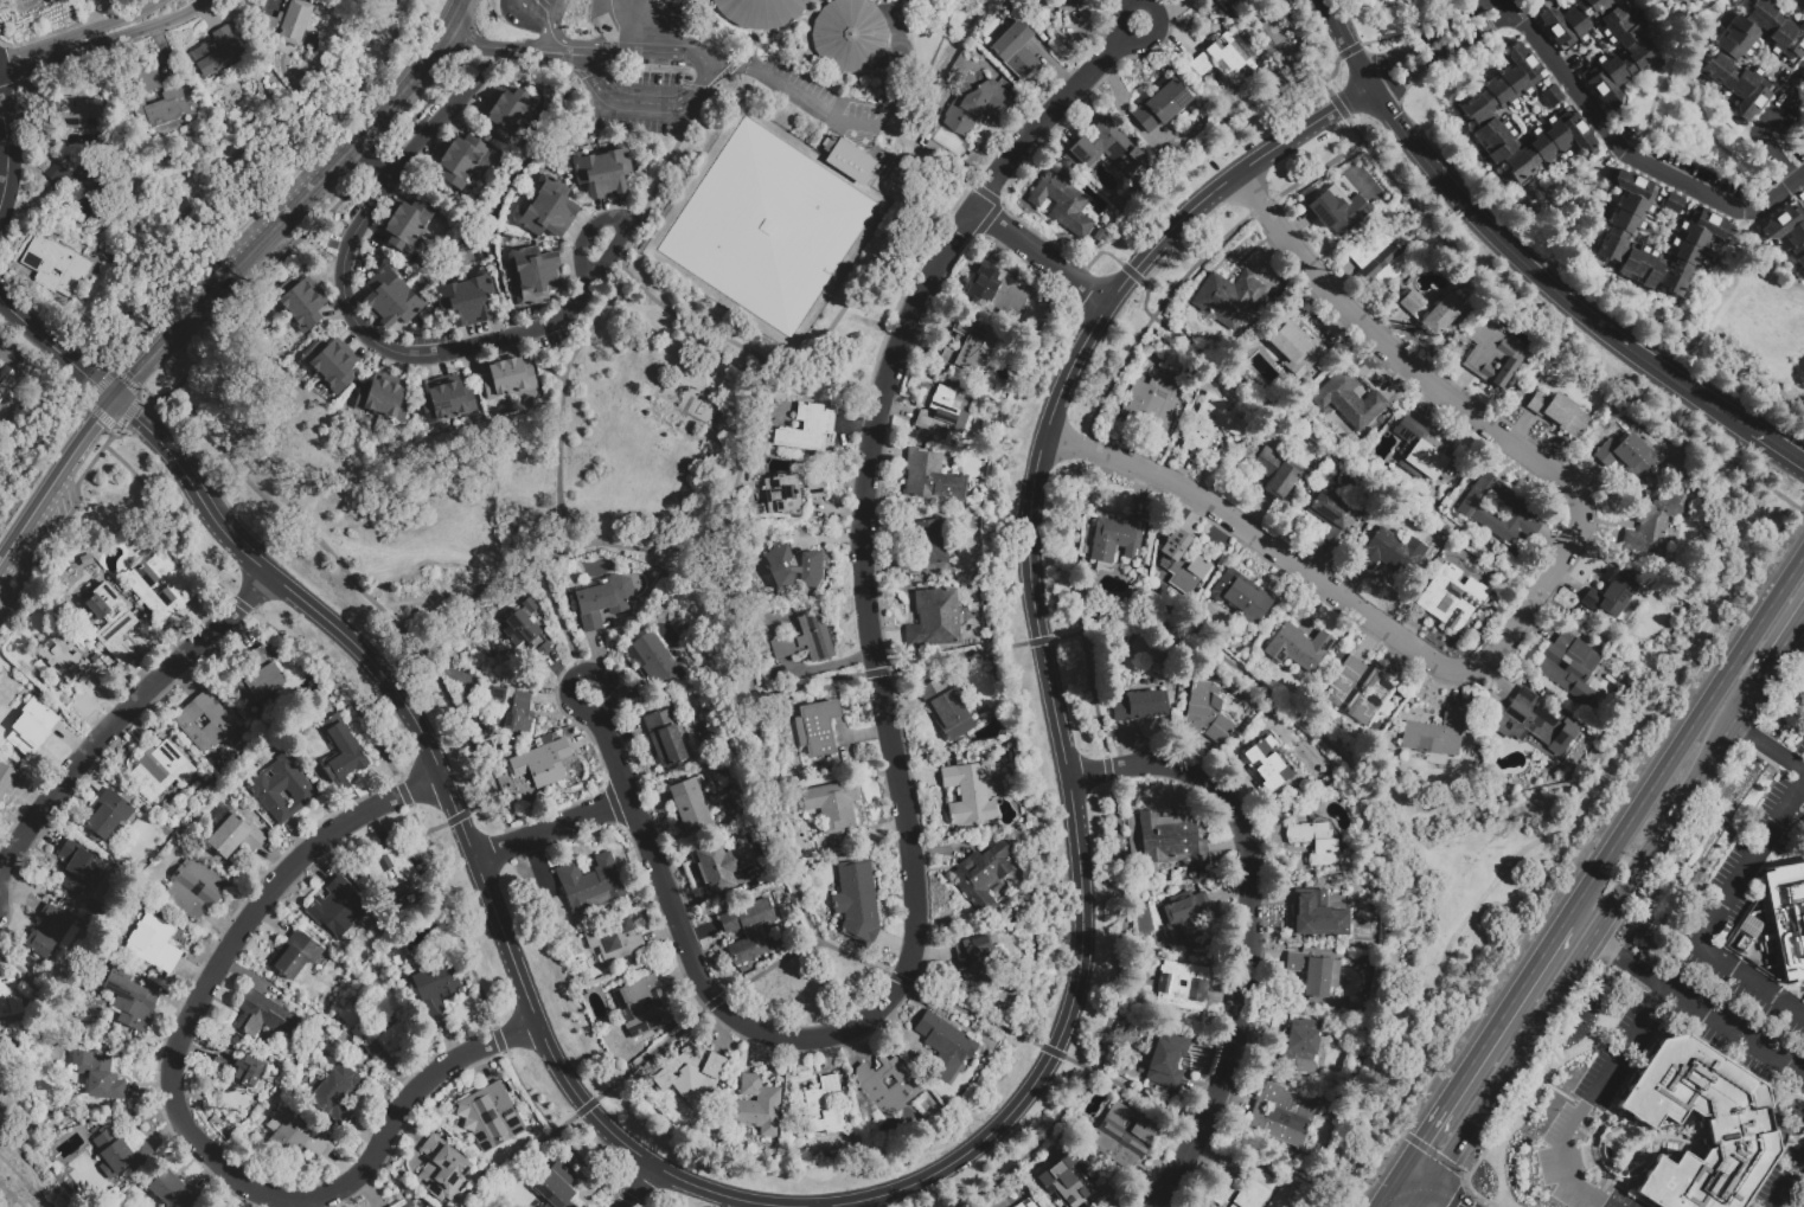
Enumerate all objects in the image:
flagpole: (657, 0)
building: (1203, 0)
building: (1386, 0)
building: (1070, 5)
building: (1228, 5)
road: (552, 12)
building: (759, 12)
road: (527, 14)
road: (458, 17)
road: (558, 18)
road: (654, 21)
road: (113, 23)
building: (286, 24)
road: (135, 26)
road: (408, 27)
building: (847, 34)
road: (650, 37)
road: (552, 38)
road: (582, 38)
road: (1437, 43)
road: (503, 46)
road: (383, 49)
road: (612, 49)
building: (1013, 49)
road: (1138, 49)
building: (1266, 49)
road: (584, 52)
building: (216, 53)
road: (668, 53)
road: (32, 57)
building: (1640, 57)
building: (1224, 58)
building: (1721, 63)
road: (591, 66)
road: (604, 77)
road: (1114, 82)
road: (703, 84)
road: (404, 89)
road: (798, 92)
road: (1375, 94)
building: (1552, 97)
building: (156, 101)
building: (972, 103)
building: (1160, 104)
road: (647, 107)
building: (75, 113)
building: (1476, 113)
building: (507, 114)
road: (1764, 126)
road: (891, 133)
road: (244, 136)
building: (1107, 148)
building: (934, 150)
road: (6, 154)
road: (1629, 155)
road: (377, 156)
building: (850, 160)
building: (459, 161)
building: (602, 171)
building: (70, 194)
building: (1062, 201)
building: (1674, 205)
building: (1338, 210)
building: (548, 211)
building: (405, 225)
building: (766, 227)
building: (1709, 233)
building: (1787, 233)
road: (1042, 249)
building: (1380, 258)
building: (56, 267)
road: (236, 269)
building: (536, 276)
road: (162, 277)
building: (997, 289)
road: (250, 293)
building: (1228, 297)
building: (391, 300)
building: (466, 300)
building: (1410, 301)
building: (300, 303)
road: (1512, 303)
building: (1442, 314)
road: (1586, 317)
road: (589, 329)
road: (708, 333)
building: (967, 345)
road: (57, 349)
building: (1297, 349)
building: (1490, 353)
road: (423, 354)
road: (538, 361)
building: (331, 365)
traffic signals: (135, 377)
building: (506, 378)
traffic signals: (94, 381)
building: (383, 399)
building: (1348, 399)
building: (1154, 400)
building: (447, 402)
road: (84, 409)
building: (940, 411)
building: (1559, 412)
traffic signals: (137, 418)
traffic signals: (96, 423)
building: (1211, 423)
building: (806, 429)
road: (766, 434)
road: (1778, 448)
building: (1424, 450)
building: (1626, 454)
building: (1274, 473)
road: (55, 477)
building: (929, 477)
road: (1380, 484)
building: (815, 488)
building: (781, 494)
building: (1497, 508)
building: (1333, 518)
building: (1653, 525)
road: (827, 538)
building: (1114, 539)
building: (932, 542)
building: (1393, 552)
building: (1181, 561)
building: (780, 567)
building: (811, 567)
road: (351, 585)
building: (160, 588)
road: (449, 592)
road: (1534, 592)
building: (1452, 597)
building: (1613, 597)
building: (1242, 598)
building: (603, 599)
building: (530, 606)
road: (559, 615)
building: (934, 618)
building: (109, 623)
building: (524, 635)
building: (805, 640)
road: (1198, 641)
building: (1297, 646)
building: (1145, 647)
road: (597, 649)
road: (1780, 650)
building: (1338, 657)
building: (654, 660)
building: (64, 661)
road: (556, 663)
road: (830, 666)
building: (1568, 666)
road: (604, 674)
building: (257, 680)
building: (1360, 689)
road: (627, 691)
road: (551, 698)
building: (1140, 705)
building: (946, 710)
building: (511, 712)
building: (1205, 712)
road: (121, 718)
building: (1535, 721)
building: (205, 724)
building: (815, 726)
building: (31, 728)
road: (1680, 731)
building: (1434, 736)
building: (479, 737)
building: (664, 737)
road: (891, 737)
road: (756, 738)
road: (1768, 746)
building: (341, 753)
building: (972, 758)
building: (542, 764)
building: (1264, 764)
building: (161, 770)
building: (6, 779)
building: (281, 790)
building: (968, 791)
building: (831, 803)
building: (690, 804)
road: (408, 805)
road: (455, 816)
building: (107, 817)
road: (550, 824)
building: (231, 834)
road: (1542, 837)
building: (1171, 839)
building: (1317, 842)
building: (756, 850)
building: (721, 865)
building: (77, 868)
building: (981, 873)
building: (392, 874)
building: (363, 880)
building: (590, 884)
building: (193, 891)
building: (856, 901)
building: (335, 910)
building: (1185, 914)
building: (1317, 916)
road: (1715, 916)
building: (1787, 916)
road: (1633, 922)
building: (1749, 926)
road: (1247, 927)
building: (748, 930)
building: (51, 935)
road: (1591, 936)
building: (615, 939)
building: (154, 945)
building: (295, 956)
building: (390, 959)
road: (1626, 961)
building: (975, 962)
road: (879, 971)
building: (1313, 971)
building: (1183, 984)
building: (435, 987)
building: (7, 1001)
building: (130, 1002)
building: (641, 1006)
building: (1355, 1009)
building: (939, 1012)
road: (71, 1016)
building: (263, 1019)
road: (1733, 1031)
building: (356, 1034)
building: (389, 1039)
road: (1477, 1044)
building: (943, 1045)
building: (1300, 1045)
building: (1168, 1060)
building: (239, 1068)
building: (690, 1074)
building: (98, 1078)
building: (885, 1086)
building: (334, 1092)
road: (1587, 1099)
building: (755, 1106)
building: (823, 1106)
building: (1281, 1113)
road: (177, 1115)
building: (491, 1118)
building: (1739, 1121)
building: (1122, 1136)
building: (295, 1137)
traffic signals: (1416, 1138)
road: (1028, 1150)
building: (119, 1154)
road: (951, 1162)
building: (442, 1171)
road: (1412, 1176)
road: (1786, 1180)
building: (1066, 1181)
road: (634, 1186)
road: (1383, 1187)
building: (556, 1188)
building: (173, 1192)
building: (1253, 1192)
road: (13, 1194)
building: (1223, 1194)
road: (1457, 1194)
road: (1441, 1195)
road: (1419, 1196)
road: (1479, 1196)
building: (1025, 1203)
building: (404, 1205)
traffic signals: (1457, 1206)

